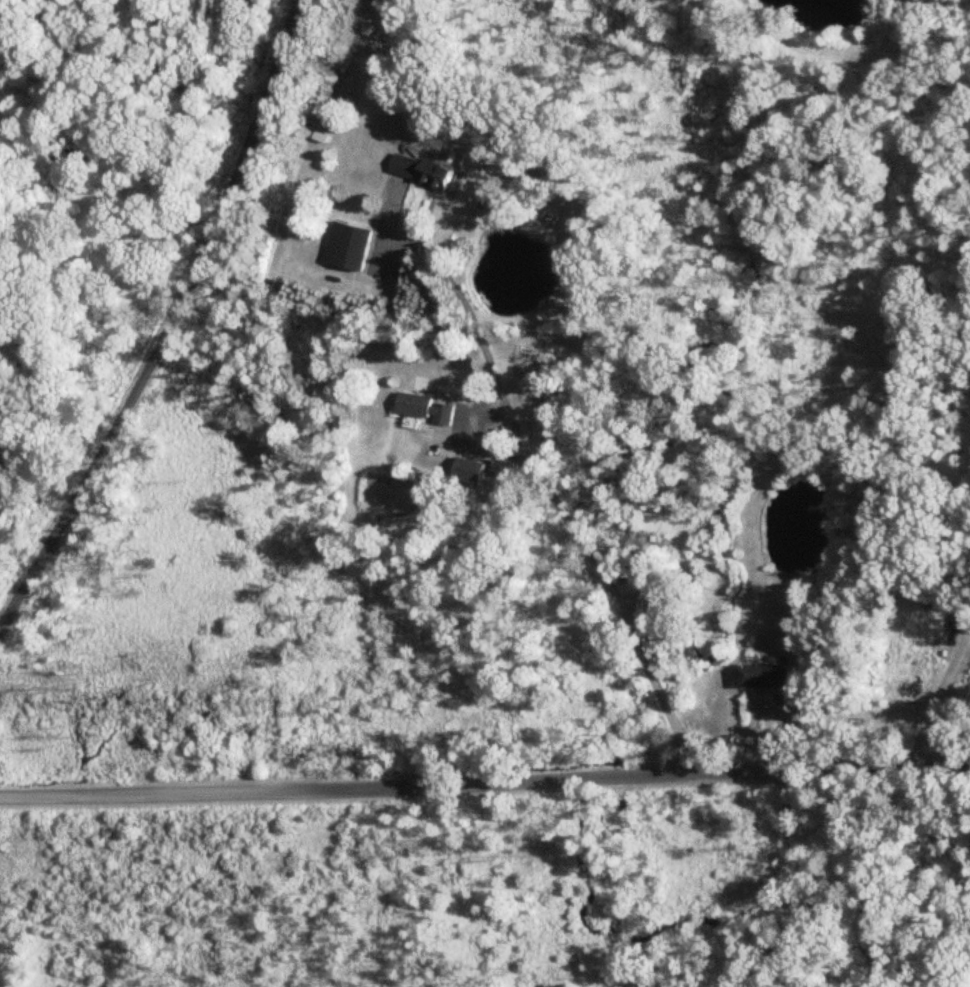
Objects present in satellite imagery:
building: (422, 172)
building: (0, 233)
building: (349, 247)
road: (169, 322)
building: (521, 379)
building: (421, 408)
building: (2, 426)
road: (551, 500)
building: (763, 678)
road: (485, 780)
road: (799, 878)

